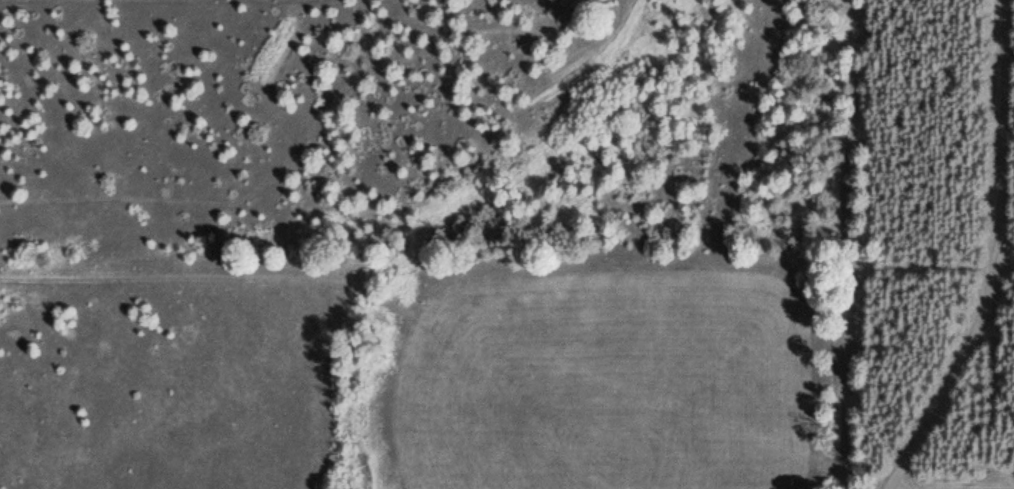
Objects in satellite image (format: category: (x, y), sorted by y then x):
road: (1005, 260)

